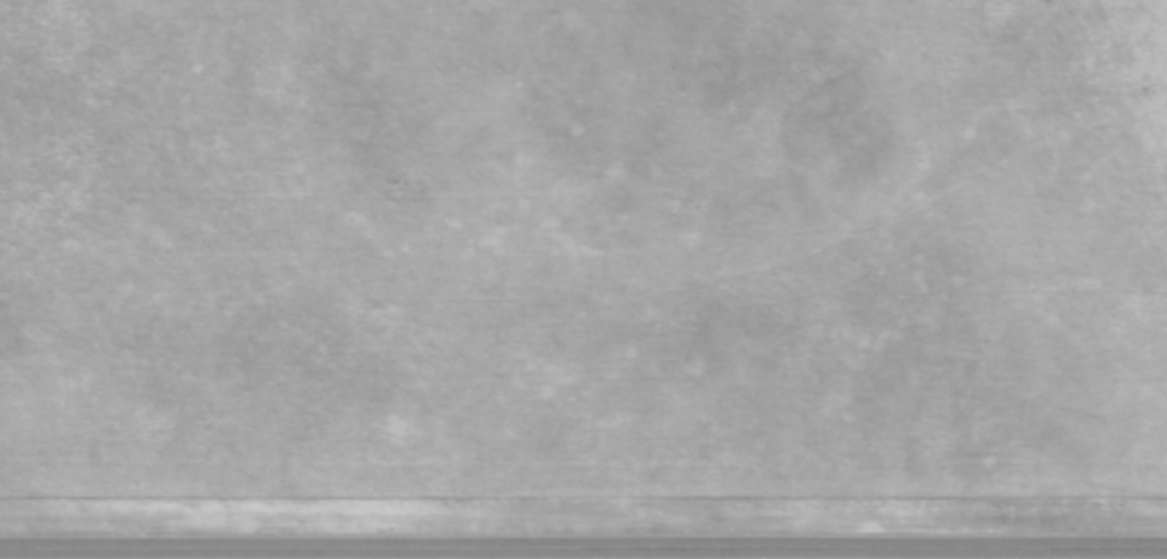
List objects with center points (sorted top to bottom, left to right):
road: (583, 547)

